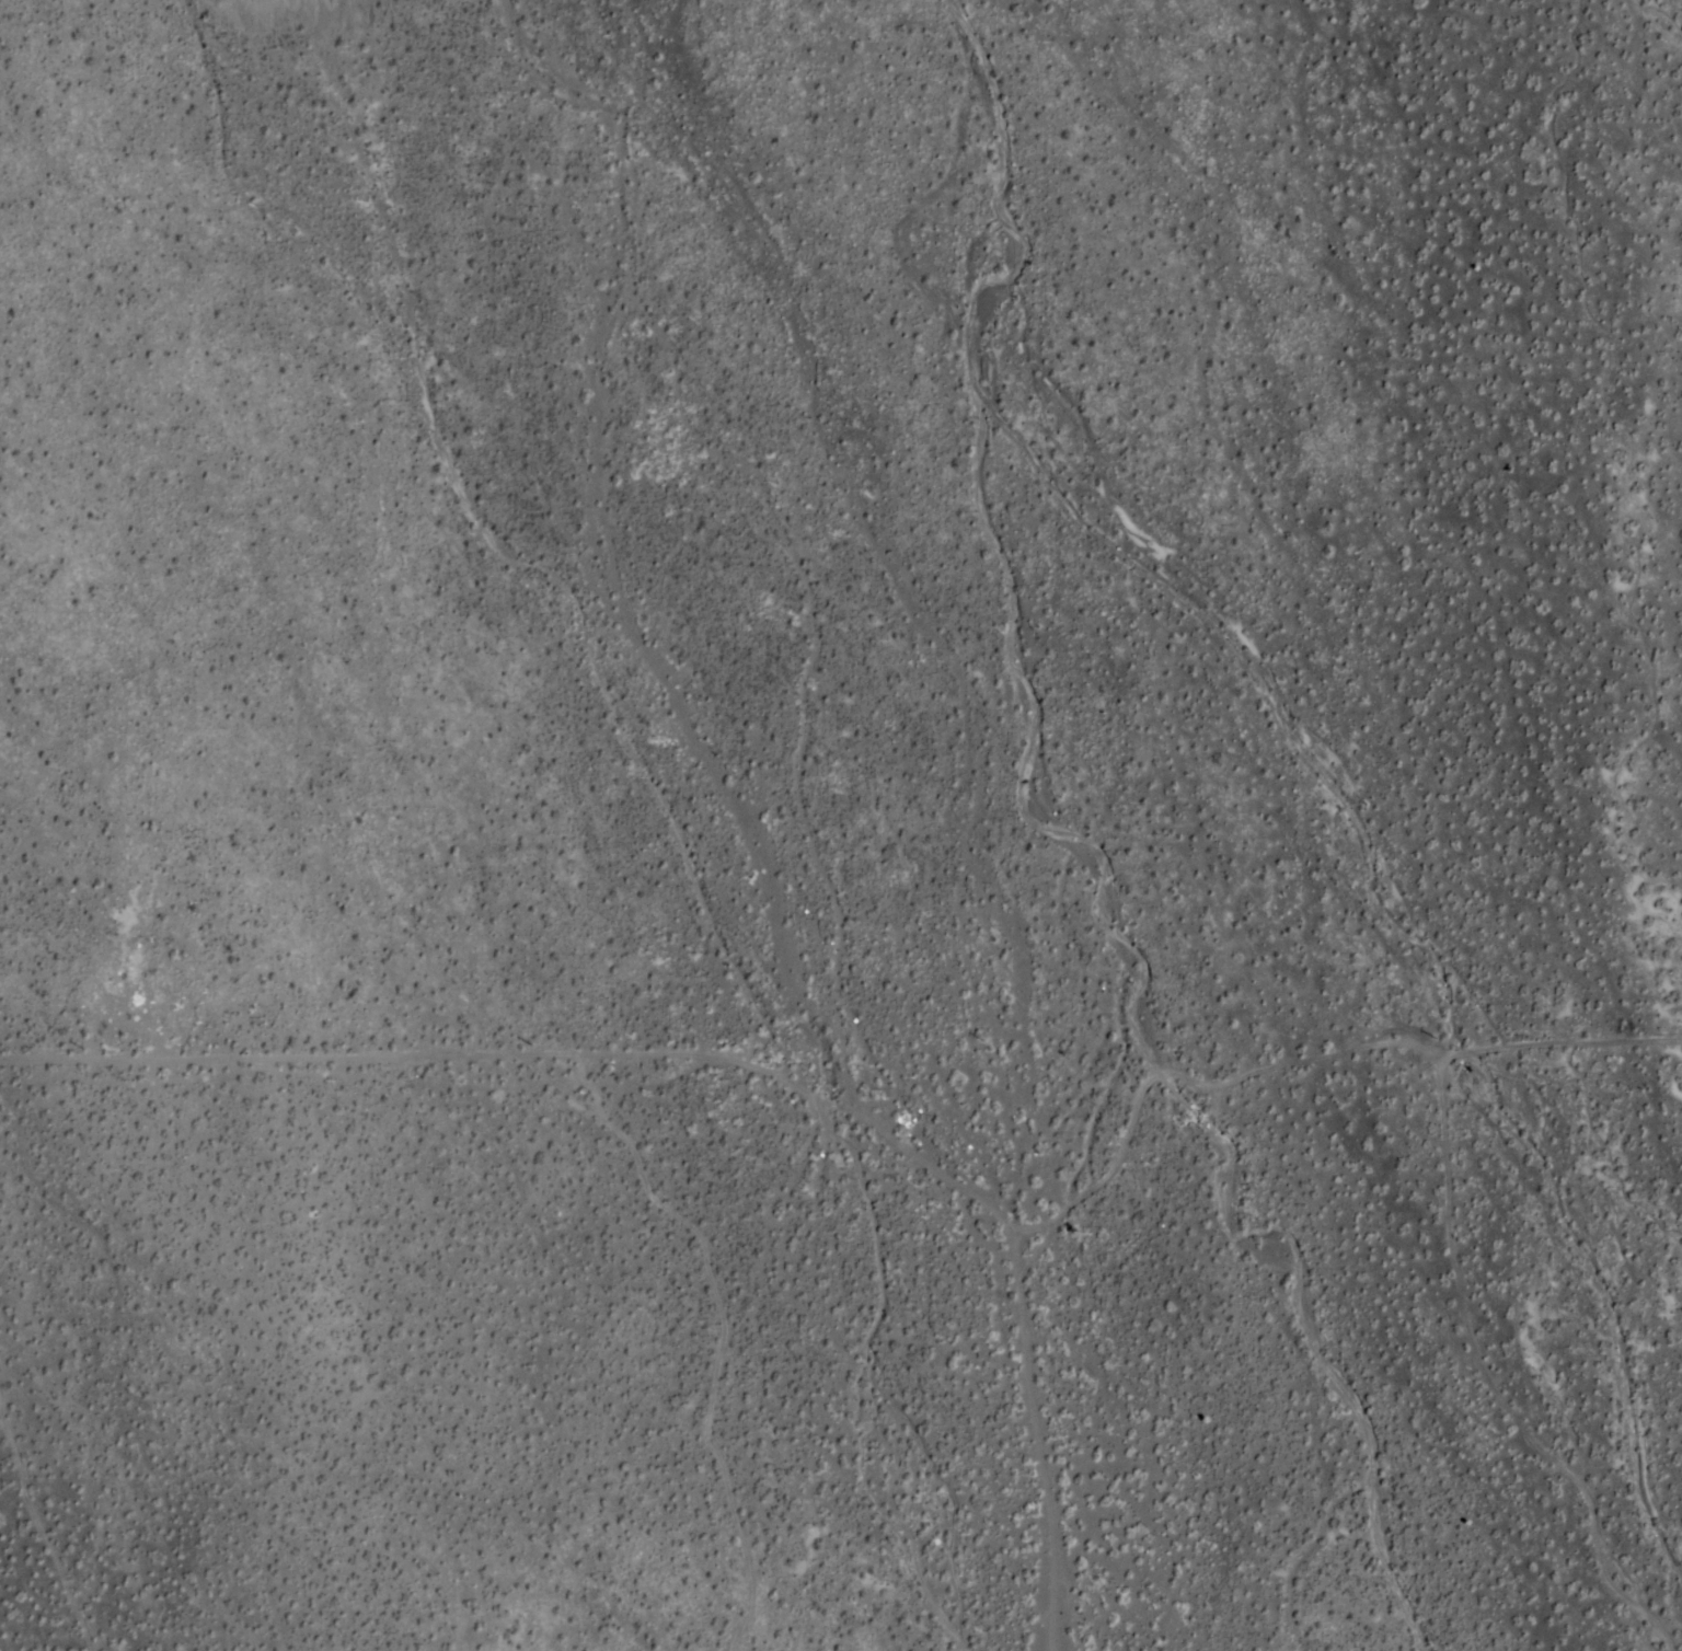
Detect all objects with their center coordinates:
road: (368, 1055)

